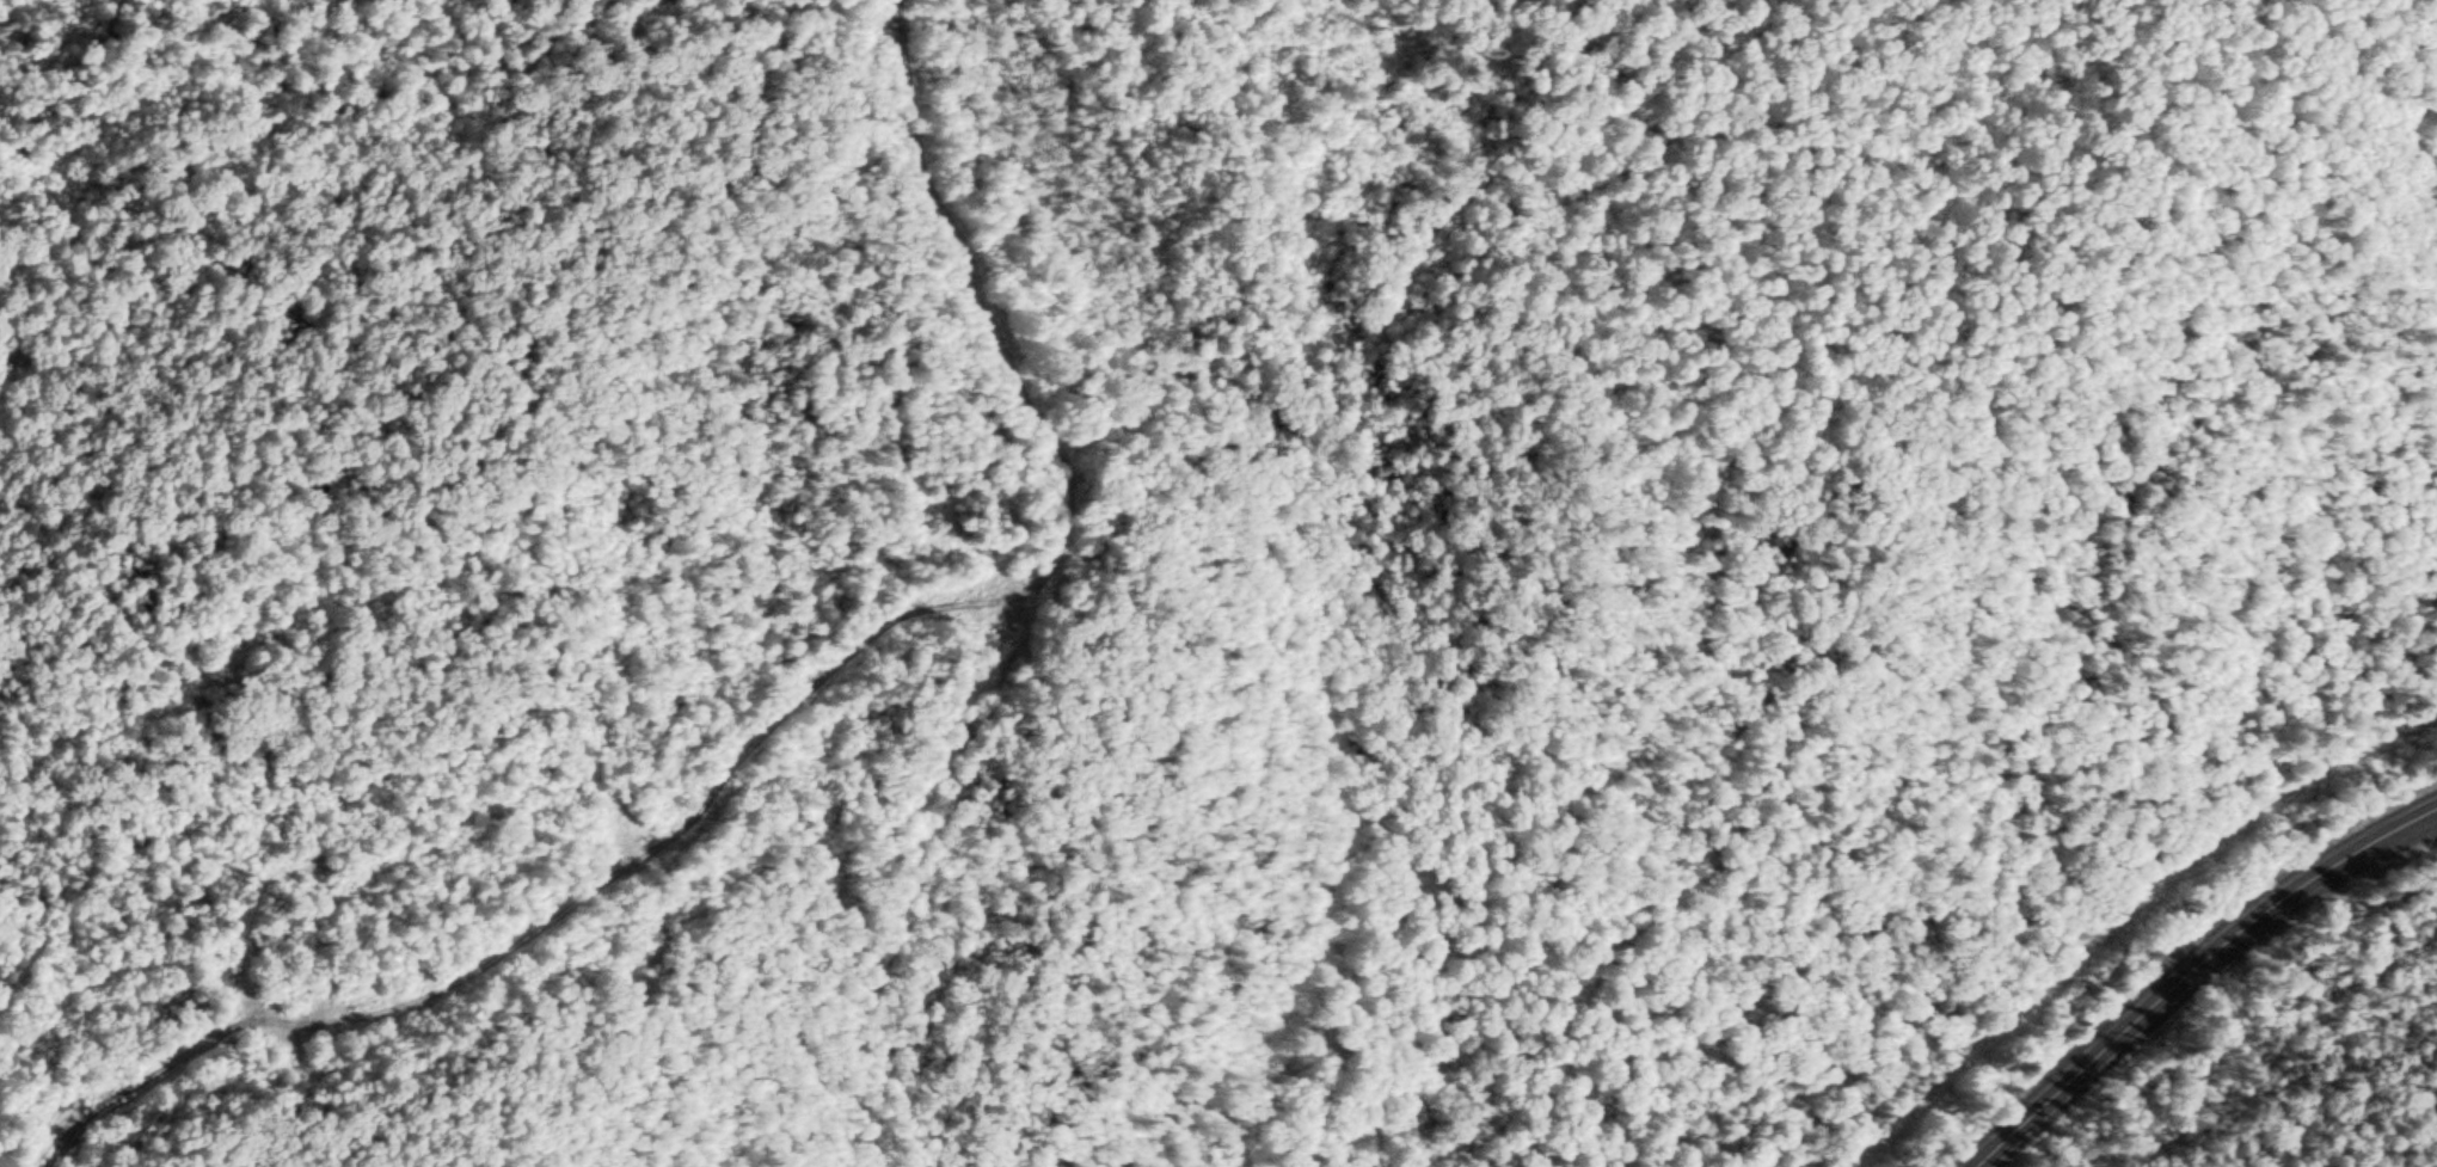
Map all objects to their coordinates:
road: (2183, 963)

